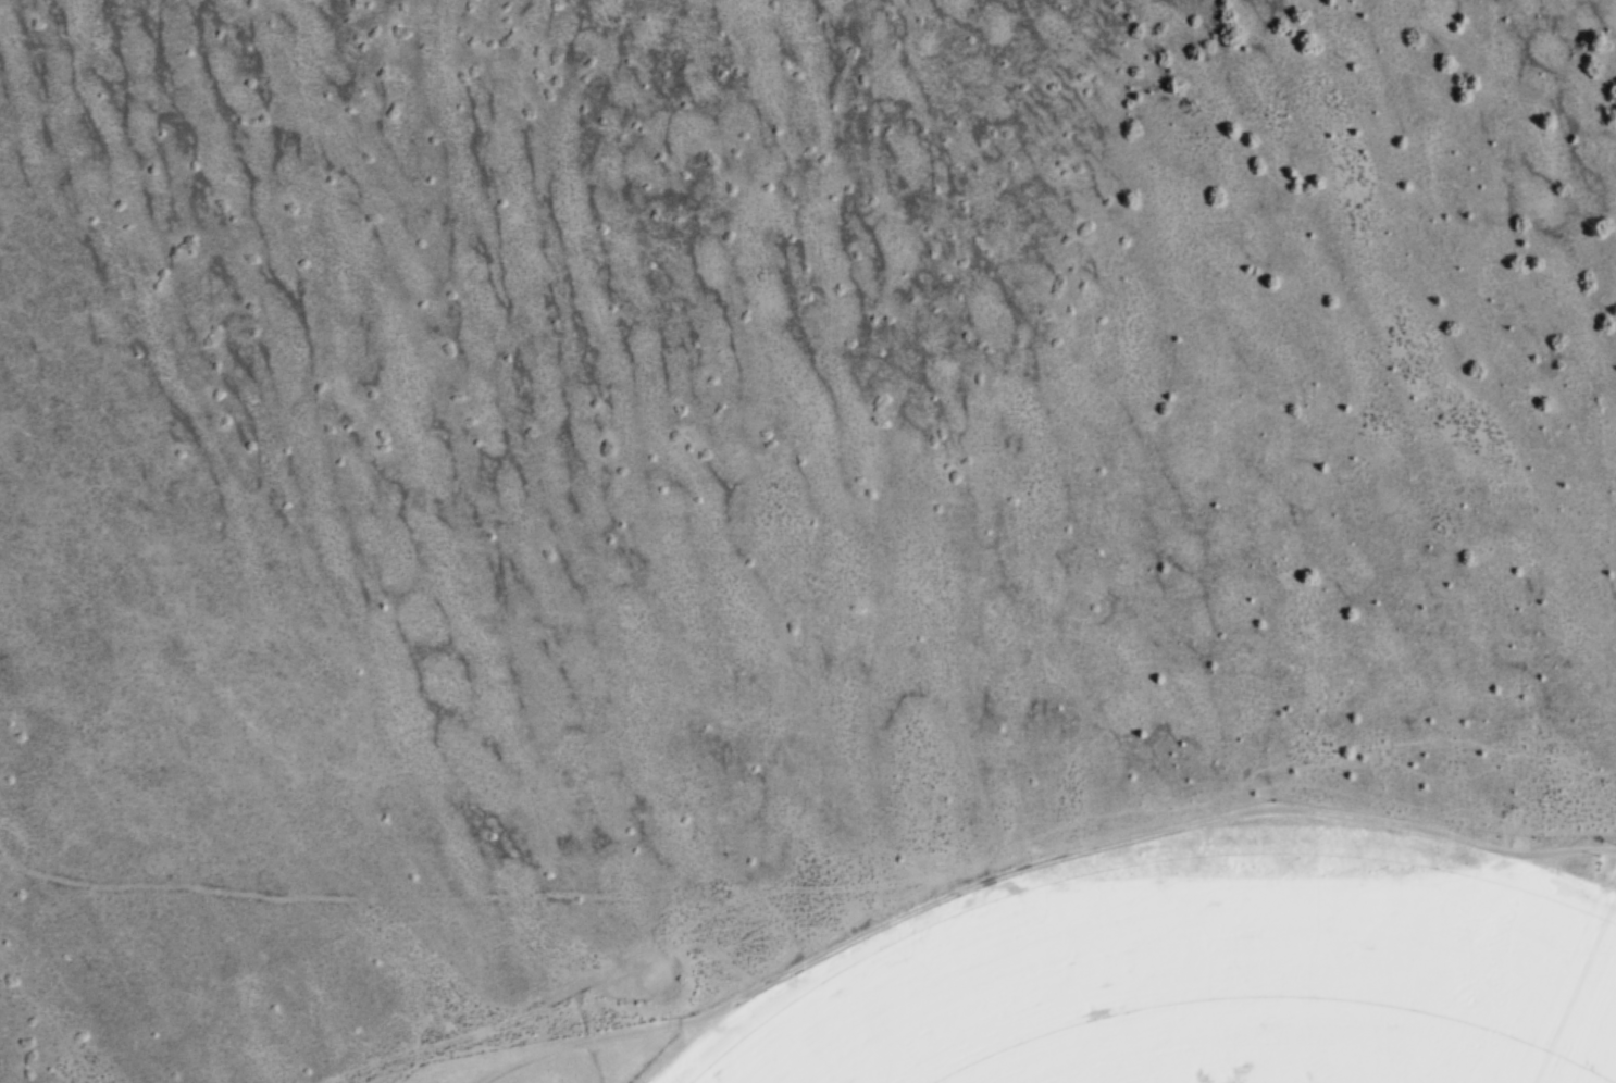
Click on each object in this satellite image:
road: (1599, 862)

